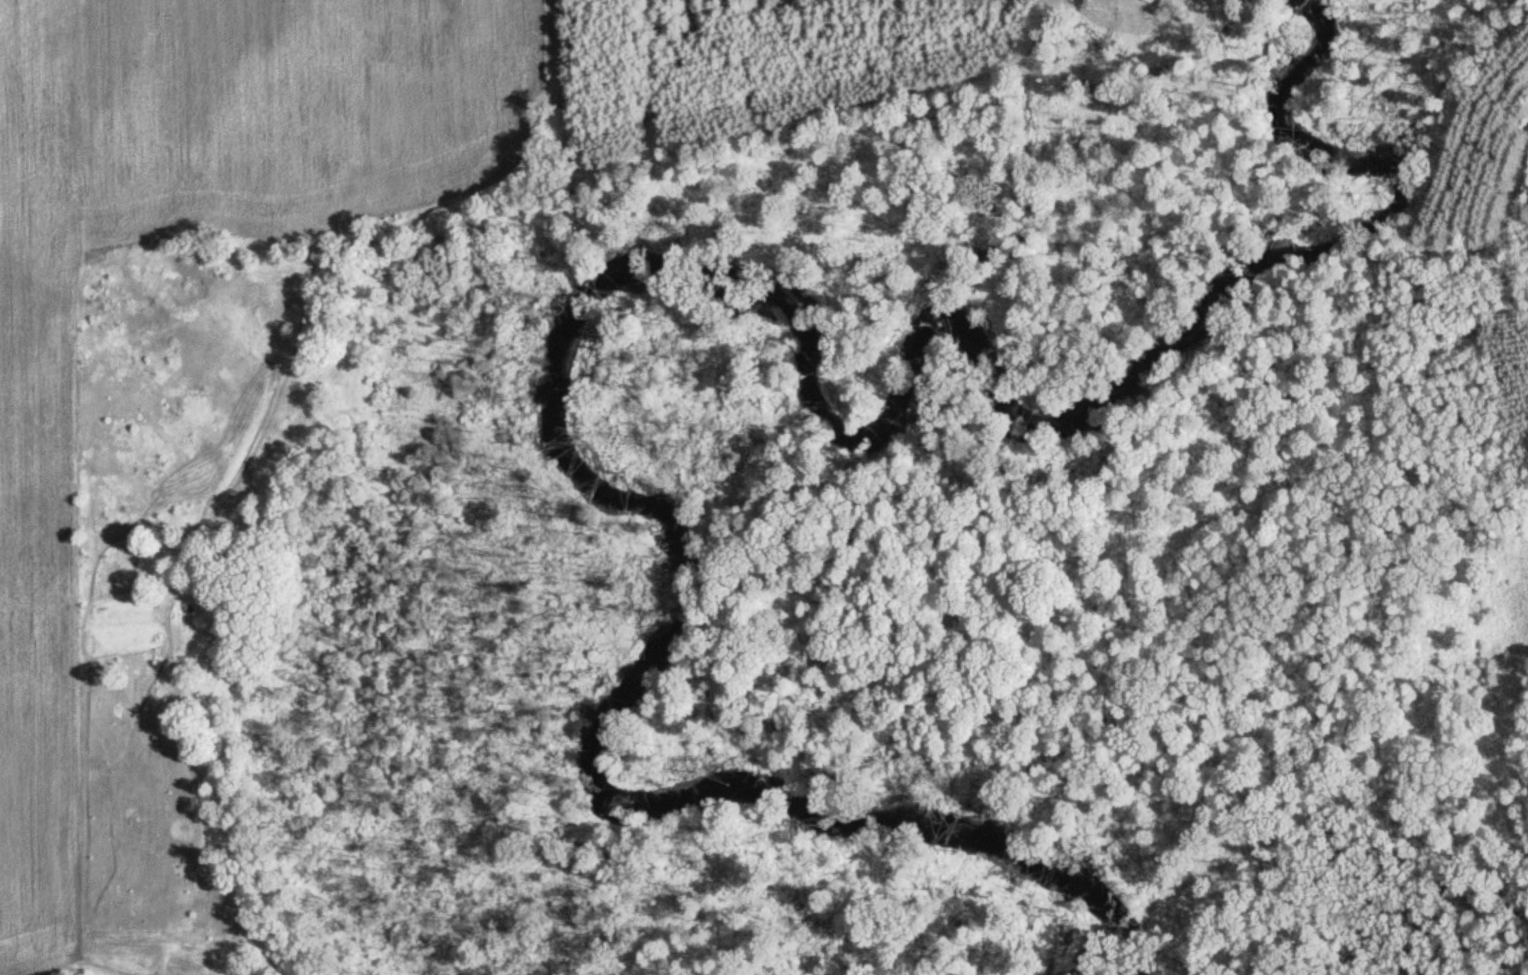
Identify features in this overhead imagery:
river: (685, 260)

